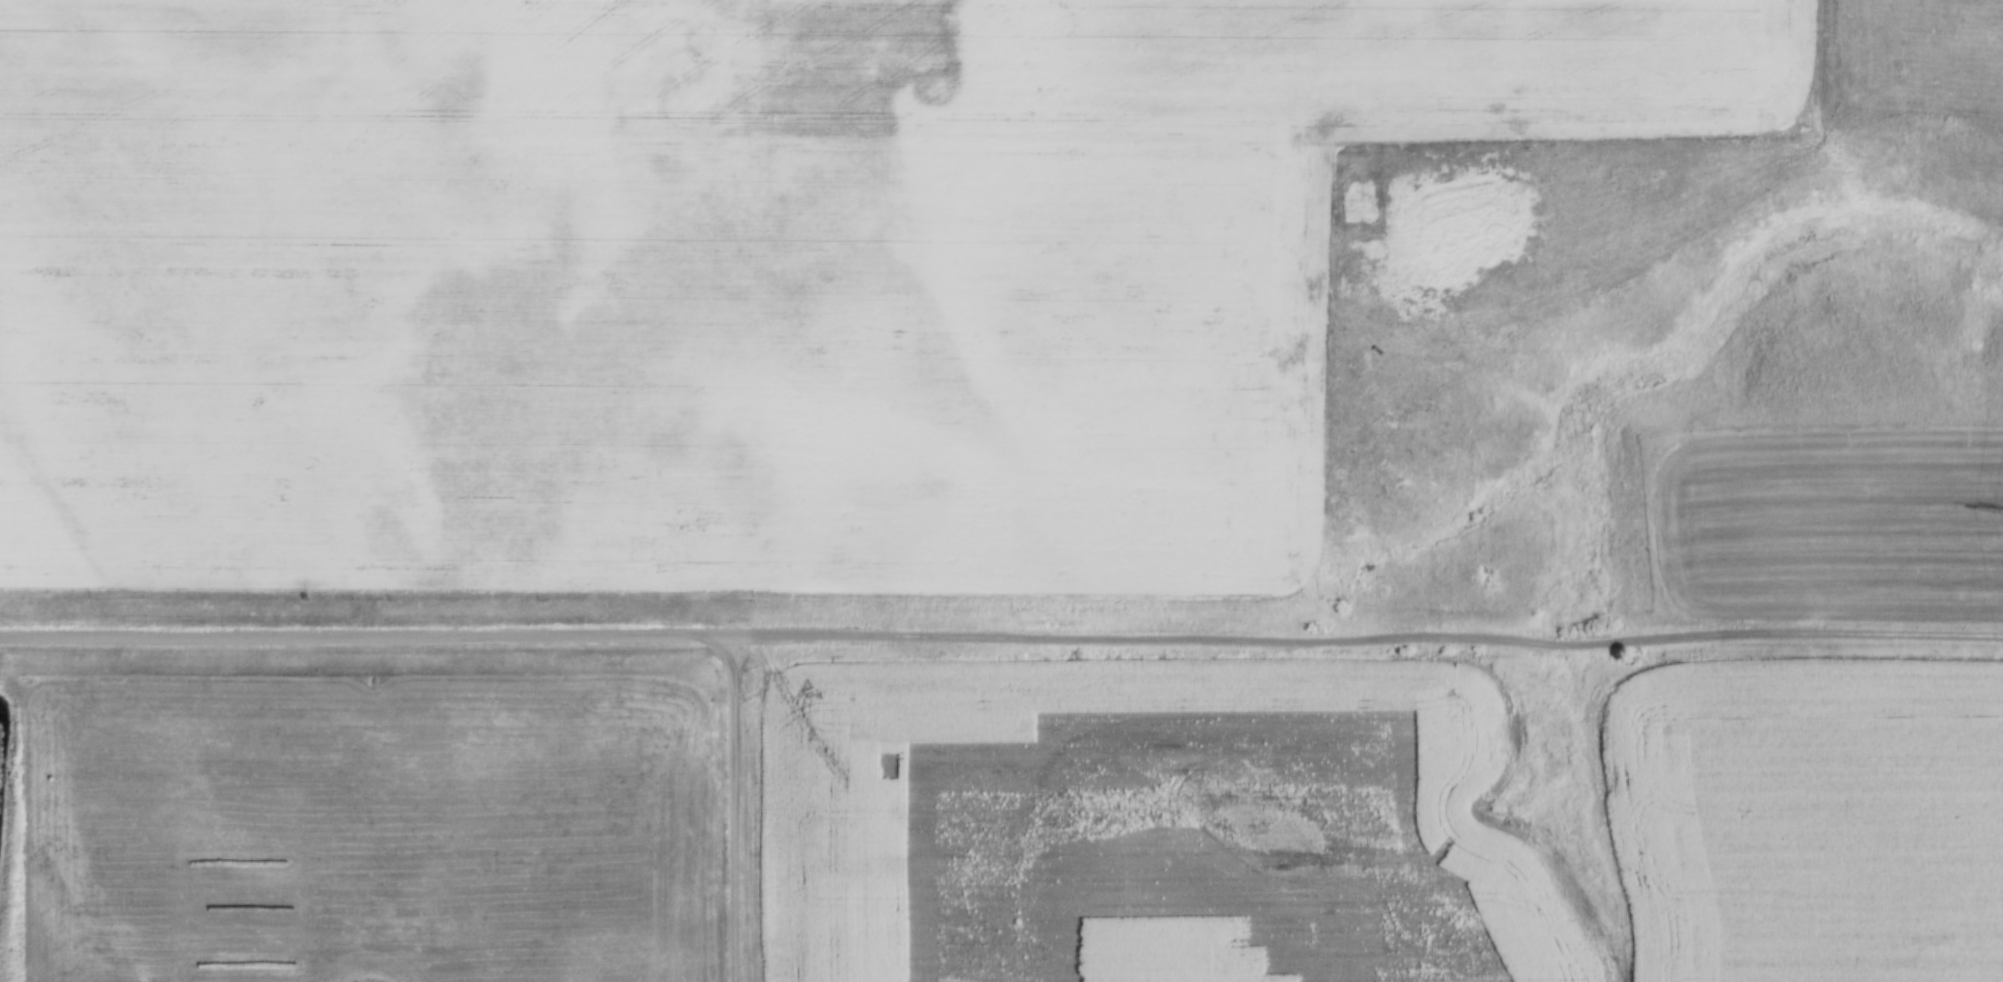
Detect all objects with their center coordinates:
road: (361, 635)
road: (1362, 638)
road: (725, 809)

